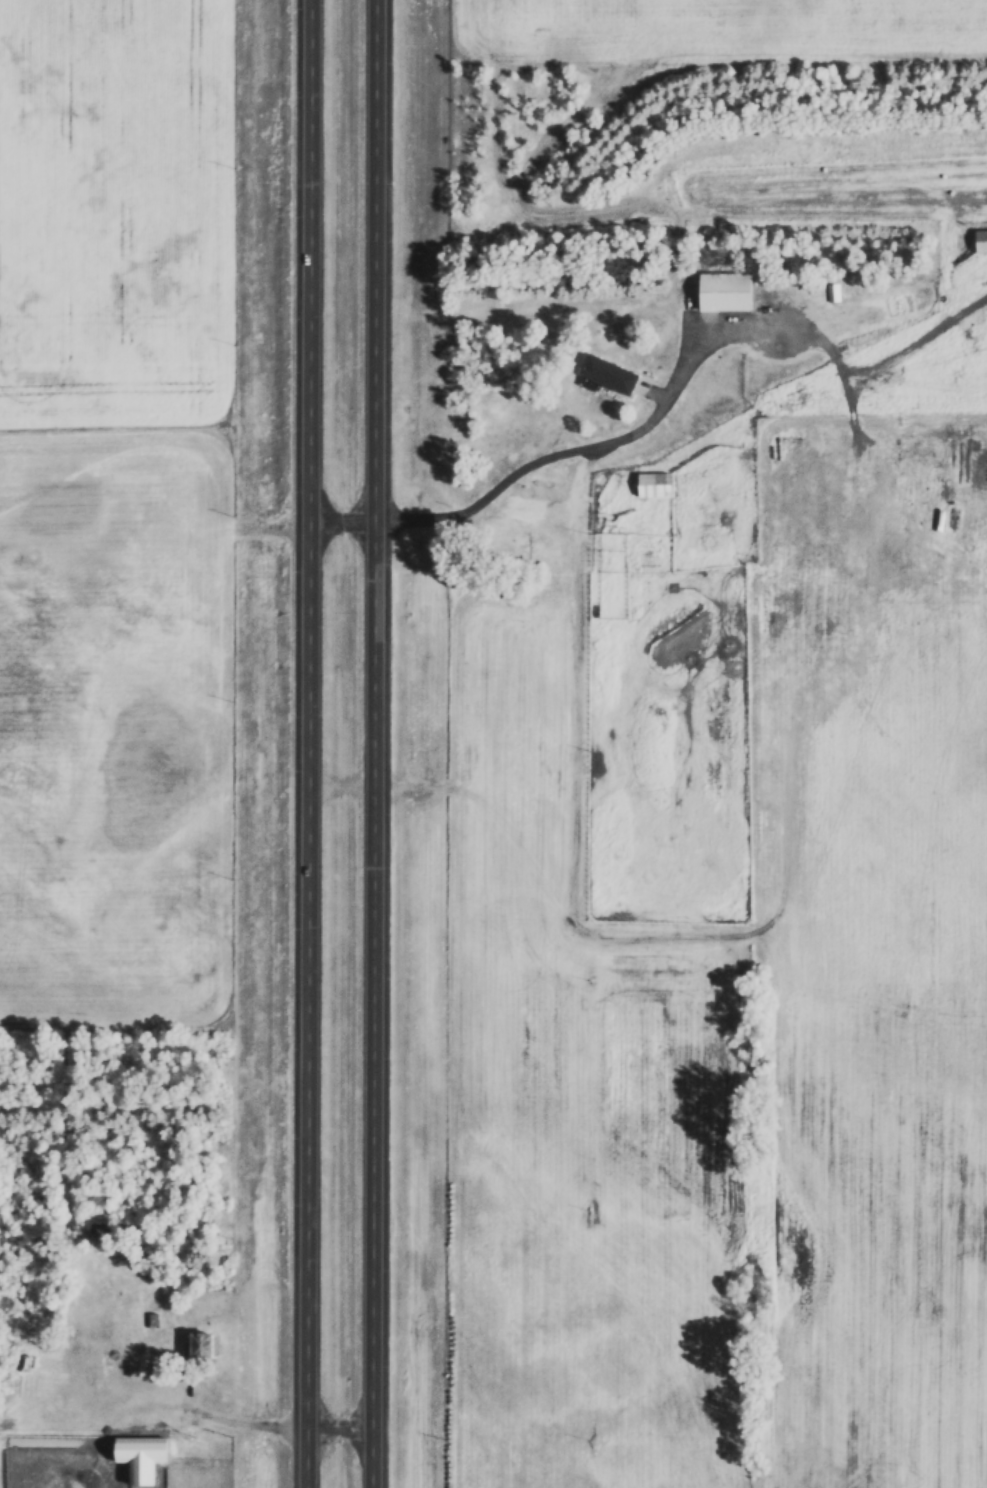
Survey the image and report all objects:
building: (982, 241)
building: (725, 296)
building: (607, 374)
building: (654, 485)
road: (467, 512)
road: (578, 537)
road: (313, 743)
road: (381, 744)
road: (457, 786)
building: (155, 1321)
building: (206, 1346)
road: (225, 1416)
building: (146, 1455)

